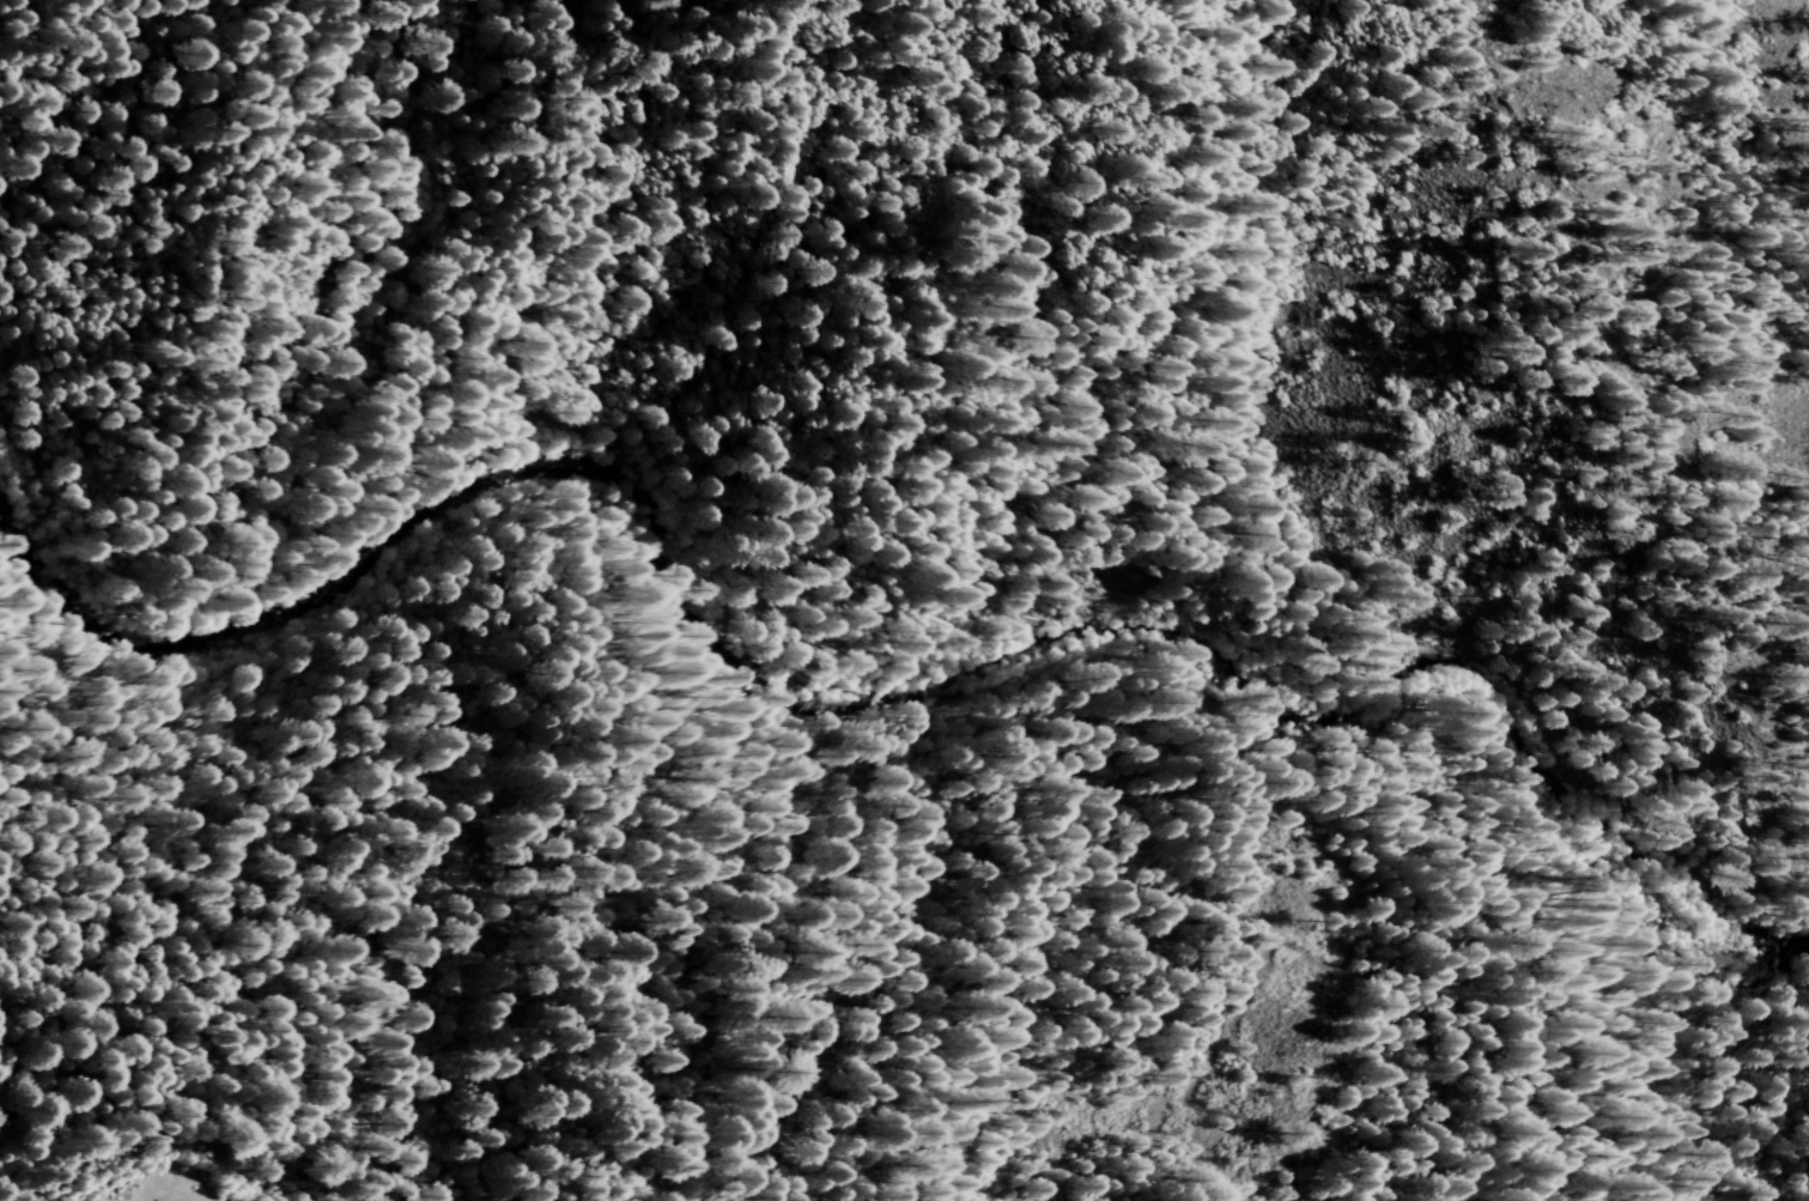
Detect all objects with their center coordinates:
quarry: (154, 1190)

